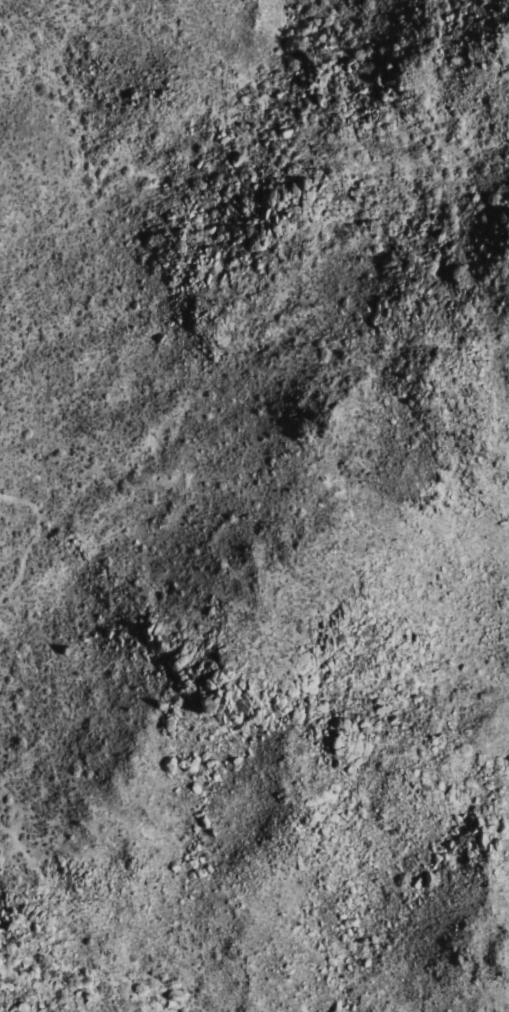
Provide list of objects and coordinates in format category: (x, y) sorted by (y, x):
park: (262, 969)

